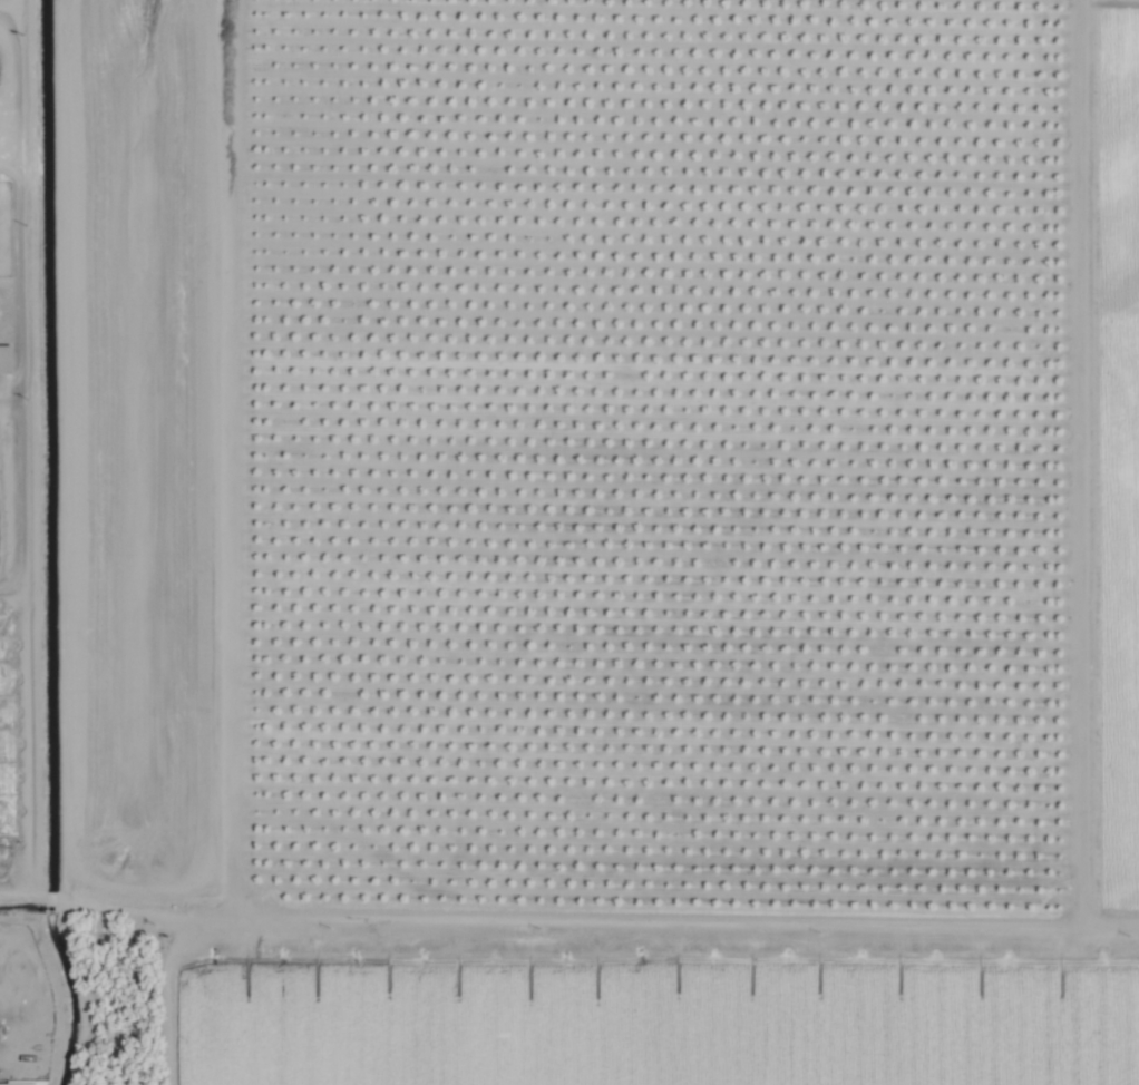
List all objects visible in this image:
road: (22, 301)
crop: (21, 334)
crop: (569, 542)
crop: (29, 751)
building: (23, 1083)

